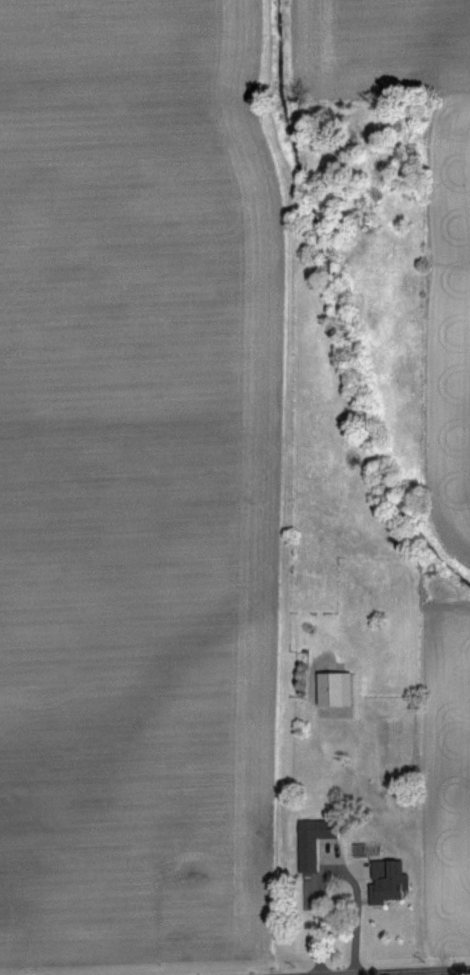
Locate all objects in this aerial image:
crop: (234, 487)
building: (336, 688)
building: (313, 841)
building: (386, 879)
road: (428, 973)

